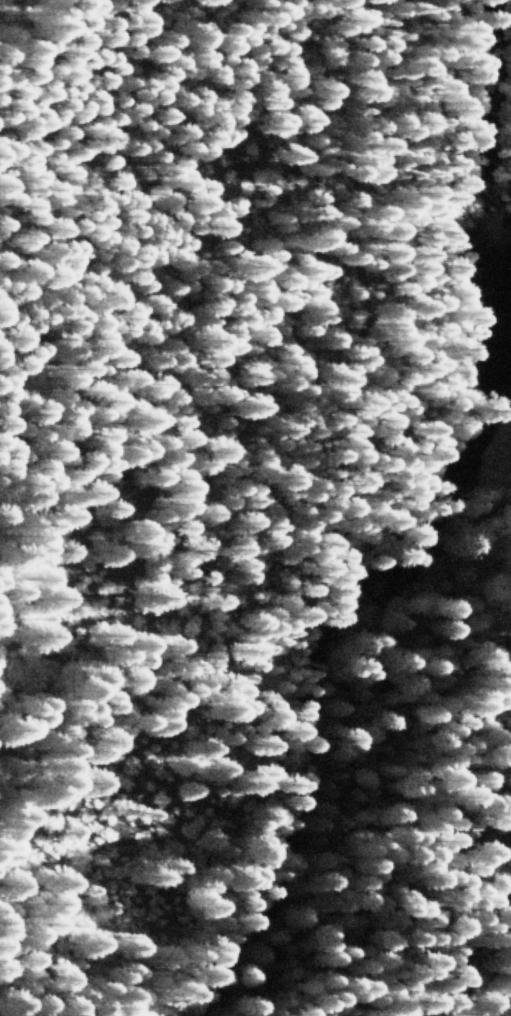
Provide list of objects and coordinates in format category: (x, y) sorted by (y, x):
road: (502, 114)
road: (364, 474)
river: (424, 532)
road: (364, 777)
road: (453, 931)

